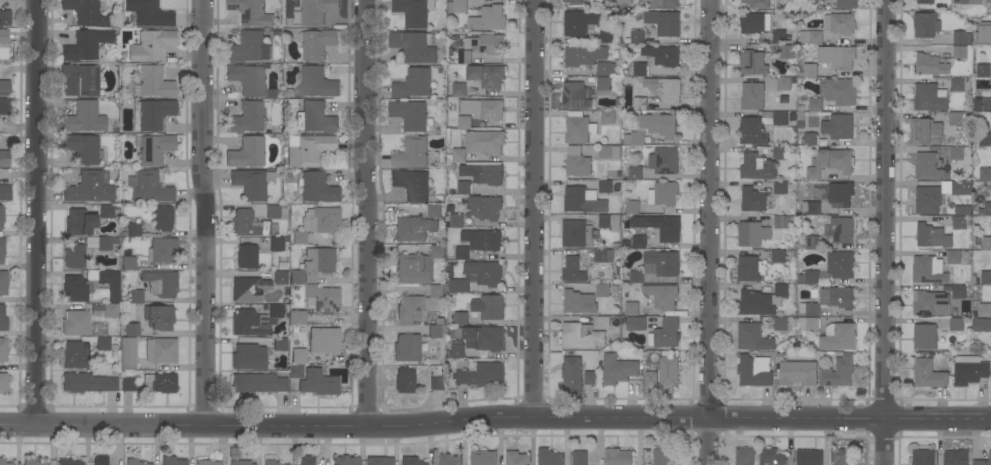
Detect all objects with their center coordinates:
building: (807, 0)
building: (800, 1)
building: (573, 2)
building: (617, 2)
building: (925, 2)
building: (969, 2)
building: (757, 3)
building: (664, 4)
building: (846, 4)
building: (457, 6)
building: (86, 12)
building: (251, 12)
building: (315, 12)
building: (413, 12)
building: (148, 14)
building: (5, 18)
building: (489, 19)
building: (581, 22)
building: (664, 23)
building: (754, 23)
building: (840, 24)
building: (926, 25)
building: (983, 33)
building: (4, 36)
building: (606, 37)
building: (637, 37)
building: (779, 37)
building: (810, 37)
building: (960, 38)
building: (317, 44)
building: (488, 44)
building: (150, 45)
building: (81, 47)
building: (247, 47)
building: (414, 47)
building: (786, 52)
building: (959, 52)
building: (615, 55)
building: (663, 55)
building: (583, 56)
building: (464, 57)
building: (837, 57)
building: (753, 63)
building: (927, 64)
building: (605, 69)
building: (640, 70)
building: (808, 70)
building: (984, 71)
building: (487, 76)
building: (247, 79)
building: (79, 80)
building: (155, 82)
building: (317, 83)
building: (413, 84)
building: (783, 84)
building: (960, 84)
building: (603, 85)
building: (5, 88)
building: (459, 90)
building: (665, 90)
building: (841, 92)
building: (573, 96)
building: (752, 96)
building: (930, 98)
building: (639, 104)
building: (816, 105)
building: (982, 105)
building: (5, 107)
building: (483, 109)
building: (151, 114)
building: (410, 115)
building: (83, 118)
building: (247, 118)
building: (315, 118)
building: (607, 118)
building: (780, 118)
building: (957, 119)
building: (464, 122)
building: (430, 125)
building: (660, 125)
building: (838, 127)
building: (578, 128)
building: (752, 132)
building: (926, 132)
building: (634, 139)
building: (810, 139)
building: (984, 140)
building: (485, 143)
building: (82, 148)
building: (154, 149)
building: (308, 149)
building: (609, 152)
building: (247, 153)
building: (412, 153)
building: (780, 153)
building: (957, 153)
building: (459, 155)
building: (4, 159)
building: (664, 161)
building: (577, 163)
building: (831, 163)
building: (927, 167)
building: (757, 168)
building: (635, 173)
building: (484, 174)
building: (985, 174)
building: (252, 184)
building: (412, 185)
building: (89, 187)
building: (149, 187)
building: (605, 187)
building: (958, 187)
building: (317, 188)
building: (464, 188)
building: (780, 188)
building: (5, 193)
building: (834, 193)
building: (663, 194)
building: (755, 200)
building: (928, 200)
building: (582, 202)
building: (485, 208)
road: (532, 208)
building: (632, 208)
building: (812, 208)
building: (987, 209)
building: (434, 211)
building: (106, 212)
building: (273, 212)
road: (35, 213)
road: (204, 213)
road: (366, 213)
building: (1, 216)
building: (163, 218)
building: (456, 221)
building: (80, 222)
building: (610, 222)
building: (781, 222)
building: (961, 222)
building: (317, 223)
building: (249, 224)
building: (413, 228)
building: (133, 230)
building: (667, 230)
building: (842, 230)
road: (708, 232)
road: (885, 232)
building: (576, 234)
building: (752, 234)
building: (932, 237)
building: (482, 240)
building: (639, 242)
building: (101, 243)
building: (277, 243)
building: (812, 243)
building: (987, 244)
building: (1, 250)
building: (163, 250)
building: (437, 252)
building: (462, 253)
building: (73, 256)
building: (247, 256)
building: (603, 256)
building: (779, 256)
building: (954, 257)
building: (129, 263)
building: (663, 263)
building: (841, 264)
building: (651, 269)
building: (750, 269)
building: (412, 270)
building: (573, 270)
building: (928, 270)
building: (484, 273)
building: (281, 277)
building: (637, 278)
building: (812, 278)
building: (985, 278)
building: (302, 279)
building: (3, 283)
building: (160, 283)
building: (110, 284)
building: (458, 286)
building: (74, 289)
building: (245, 289)
building: (603, 290)
building: (614, 290)
building: (437, 292)
building: (959, 292)
building: (662, 296)
building: (136, 297)
building: (761, 301)
building: (829, 301)
building: (286, 302)
building: (579, 303)
building: (930, 303)
building: (489, 307)
building: (411, 308)
building: (632, 309)
building: (110, 310)
building: (276, 311)
building: (985, 311)
building: (159, 317)
building: (297, 317)
building: (98, 318)
building: (2, 319)
building: (459, 319)
building: (441, 321)
building: (75, 323)
building: (249, 323)
building: (607, 324)
building: (635, 324)
building: (809, 324)
building: (782, 325)
building: (956, 325)
building: (981, 325)
building: (132, 330)
building: (437, 332)
building: (665, 334)
building: (581, 336)
building: (838, 337)
building: (925, 337)
building: (753, 338)
building: (485, 339)
building: (324, 340)
building: (103, 343)
building: (280, 344)
building: (407, 347)
building: (3, 349)
building: (160, 350)
building: (457, 351)
building: (128, 352)
building: (75, 355)
building: (298, 356)
building: (249, 357)
building: (617, 370)
building: (969, 370)
building: (295, 371)
building: (669, 371)
building: (754, 371)
building: (798, 373)
building: (839, 373)
building: (928, 374)
building: (572, 375)
building: (482, 376)
building: (591, 378)
building: (652, 378)
building: (405, 380)
building: (319, 382)
building: (3, 383)
building: (87, 383)
building: (160, 383)
building: (258, 383)
building: (436, 383)
building: (128, 384)
road: (495, 417)
building: (745, 456)
building: (549, 457)
building: (579, 457)
building: (619, 457)
building: (663, 457)
building: (772, 457)
building: (809, 457)
building: (841, 457)
building: (923, 457)
building: (956, 457)
building: (483, 458)
building: (517, 458)
building: (100, 460)
building: (306, 460)
building: (346, 460)
building: (448, 460)
building: (2, 461)
building: (173, 461)
building: (379, 461)
building: (412, 461)
building: (983, 461)
building: (33, 462)
building: (69, 462)
building: (134, 462)
building: (206, 462)
building: (270, 462)
building: (241, 463)

